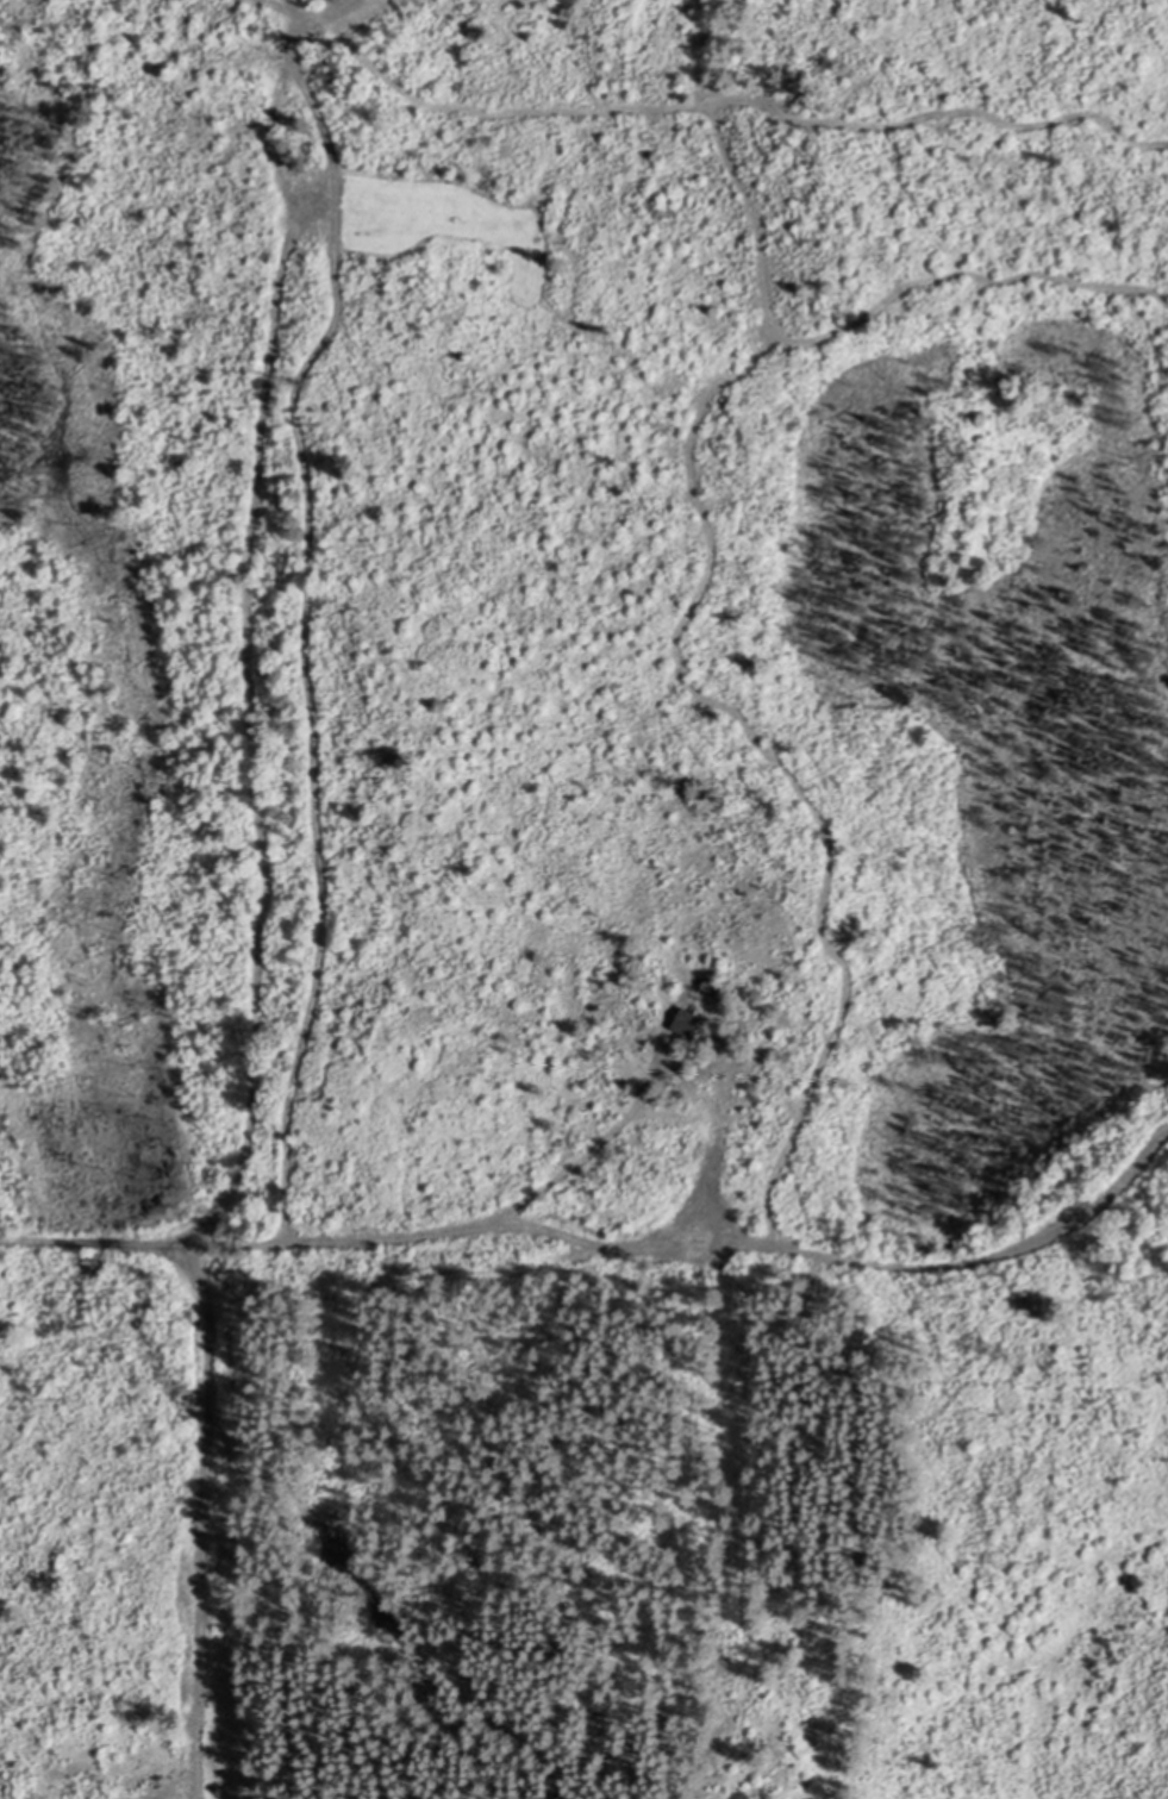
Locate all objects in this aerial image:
road: (257, 817)
building: (689, 1022)
road: (477, 1225)
road: (914, 1250)

